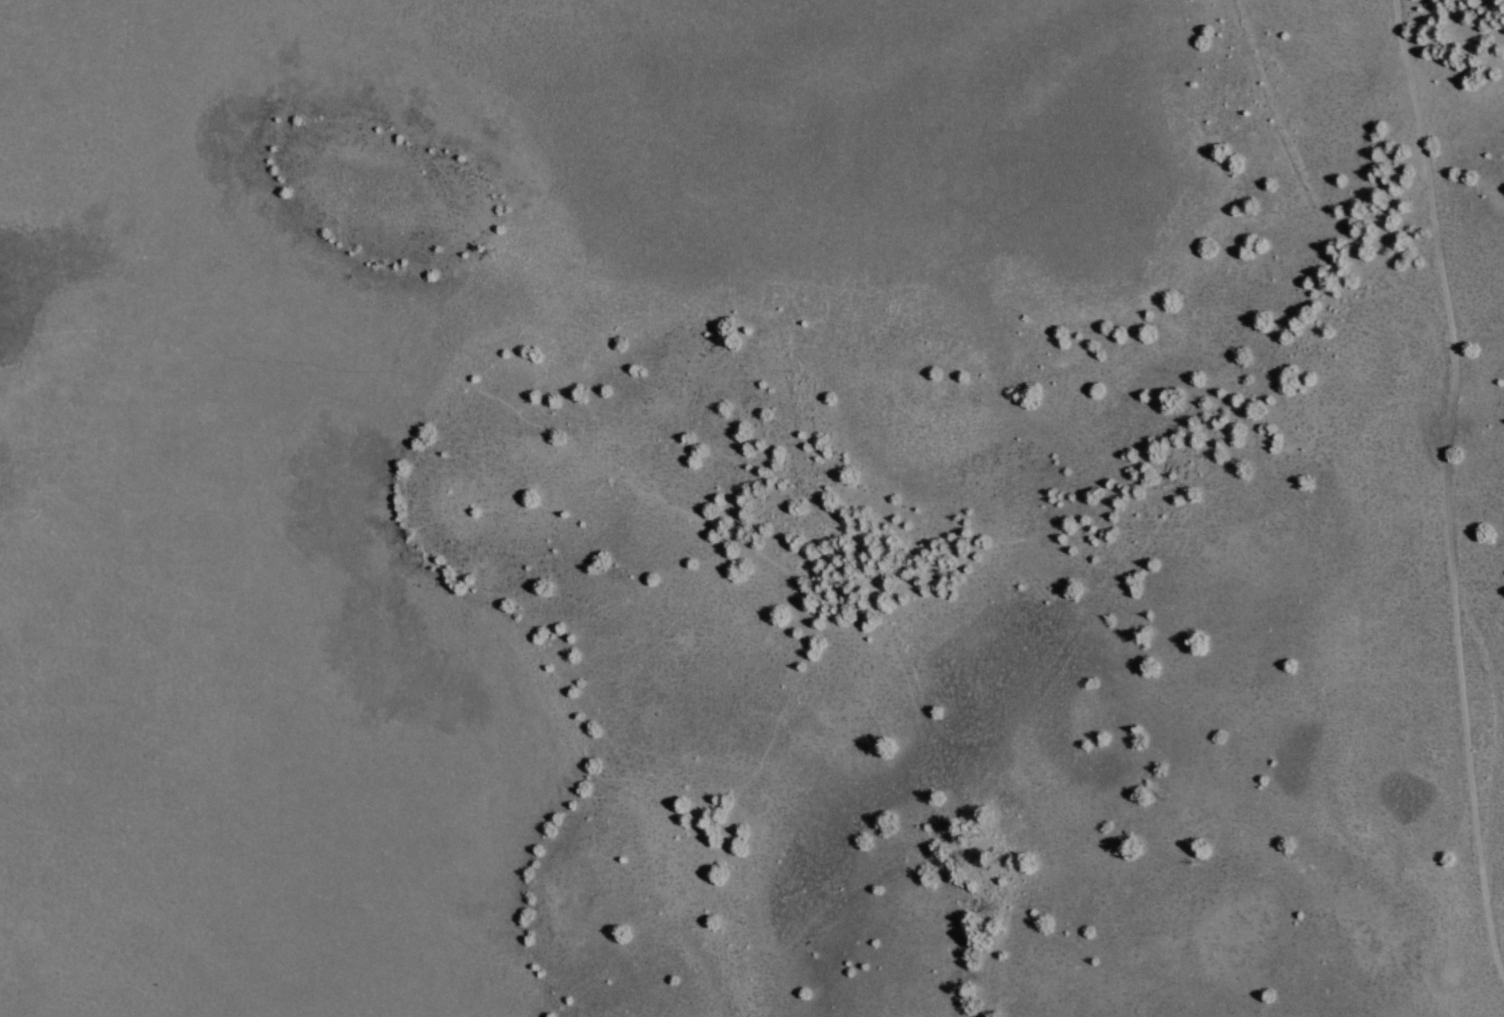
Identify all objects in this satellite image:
road: (1447, 488)

